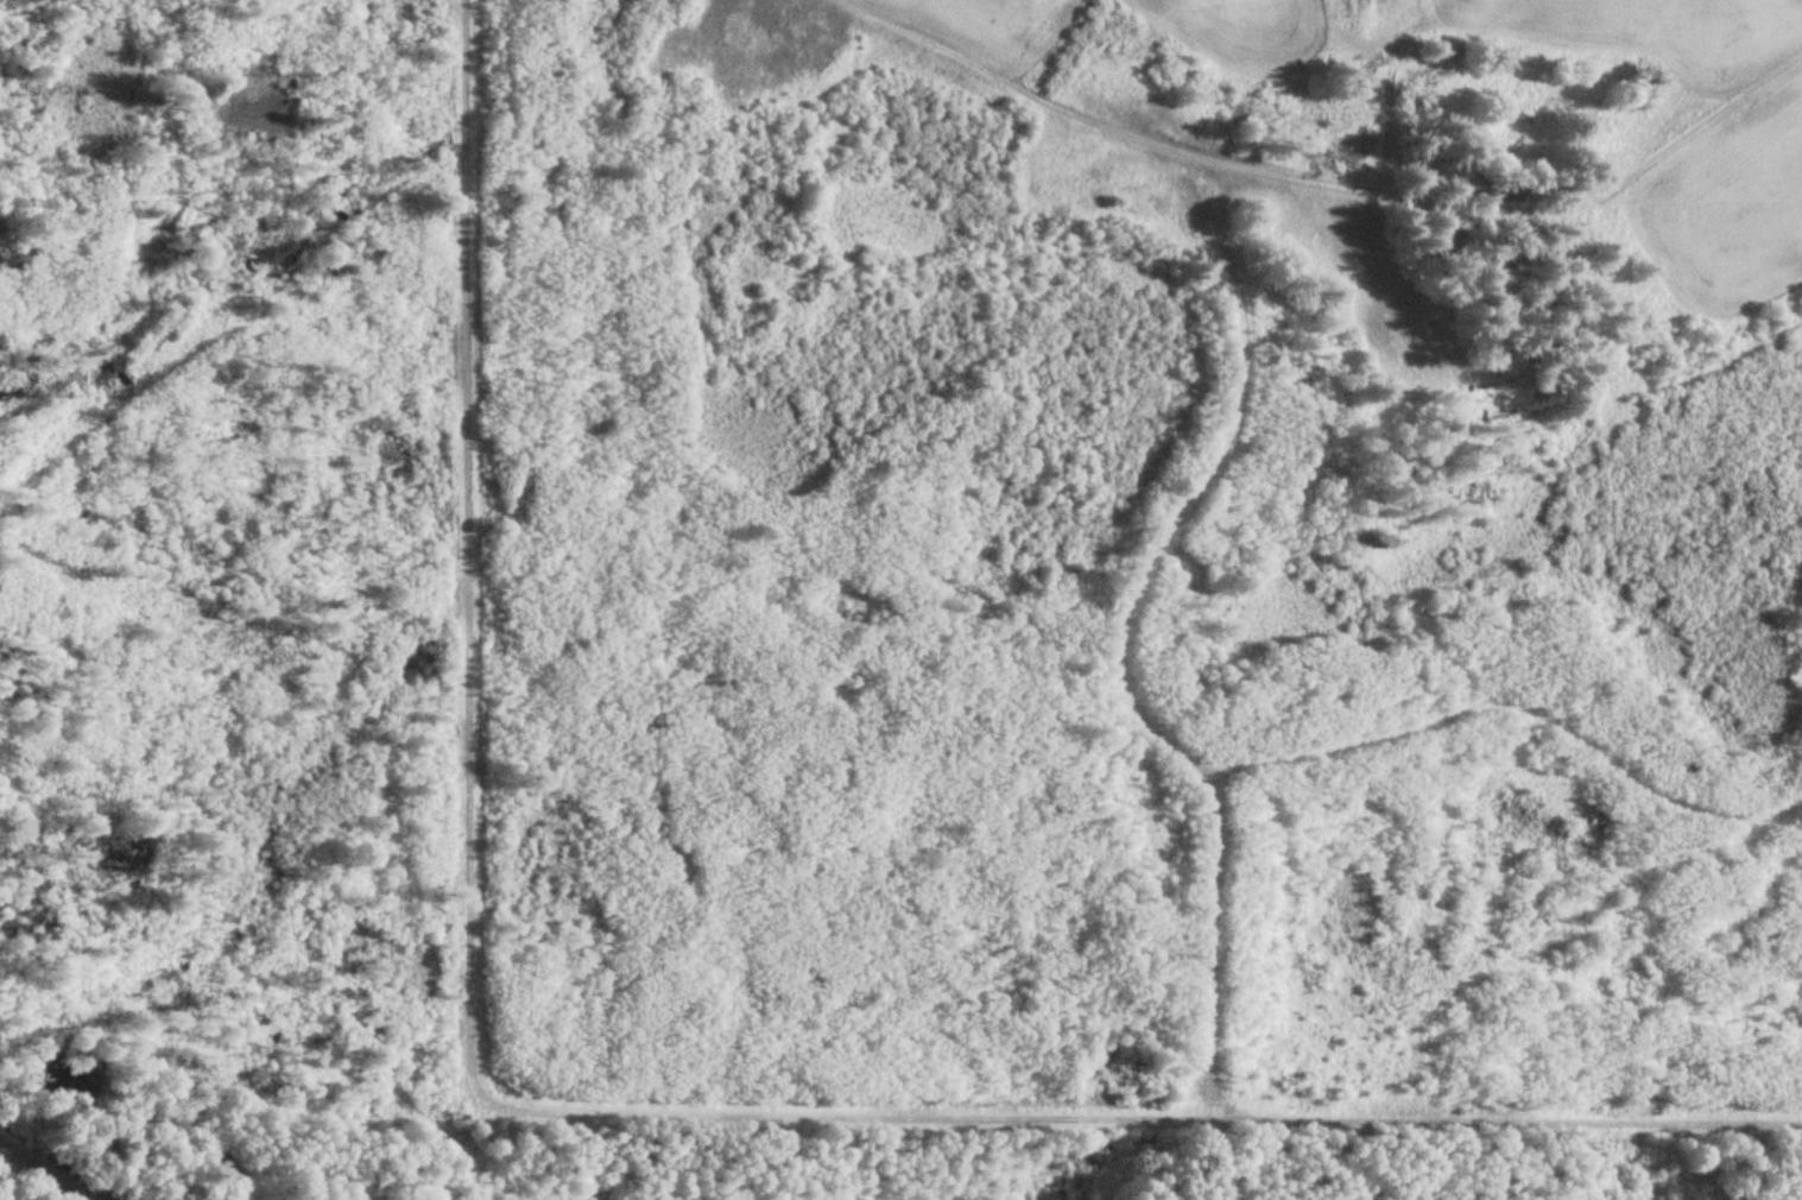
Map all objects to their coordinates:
road: (1334, 176)
road: (1126, 637)
road: (590, 1110)
railway: (48, 1169)

